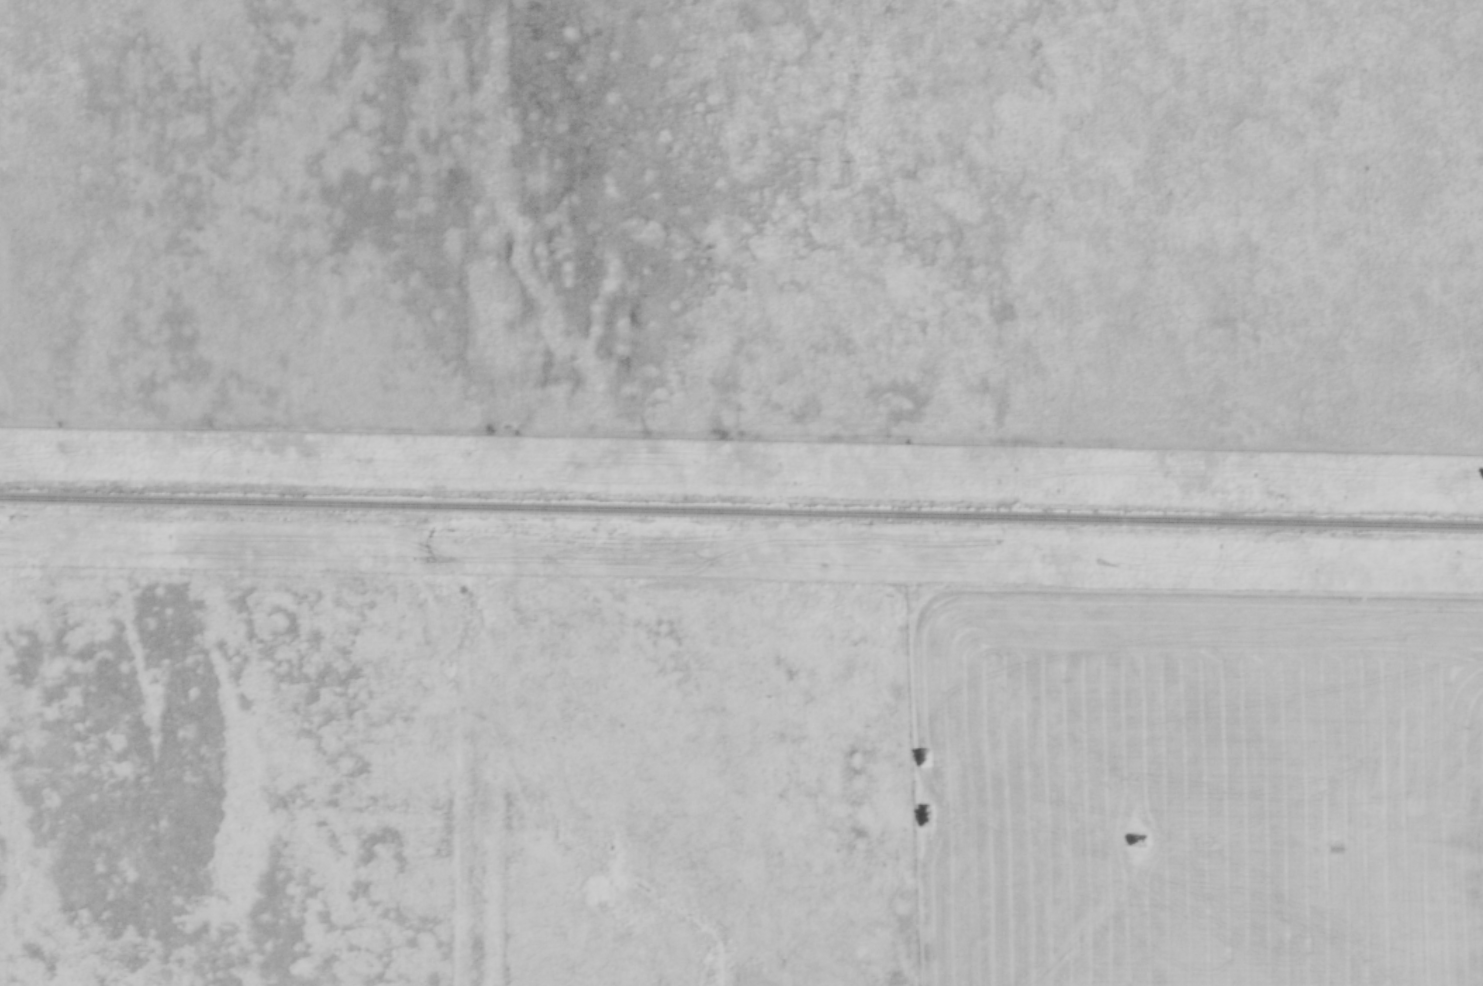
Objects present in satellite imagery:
railway: (741, 513)

